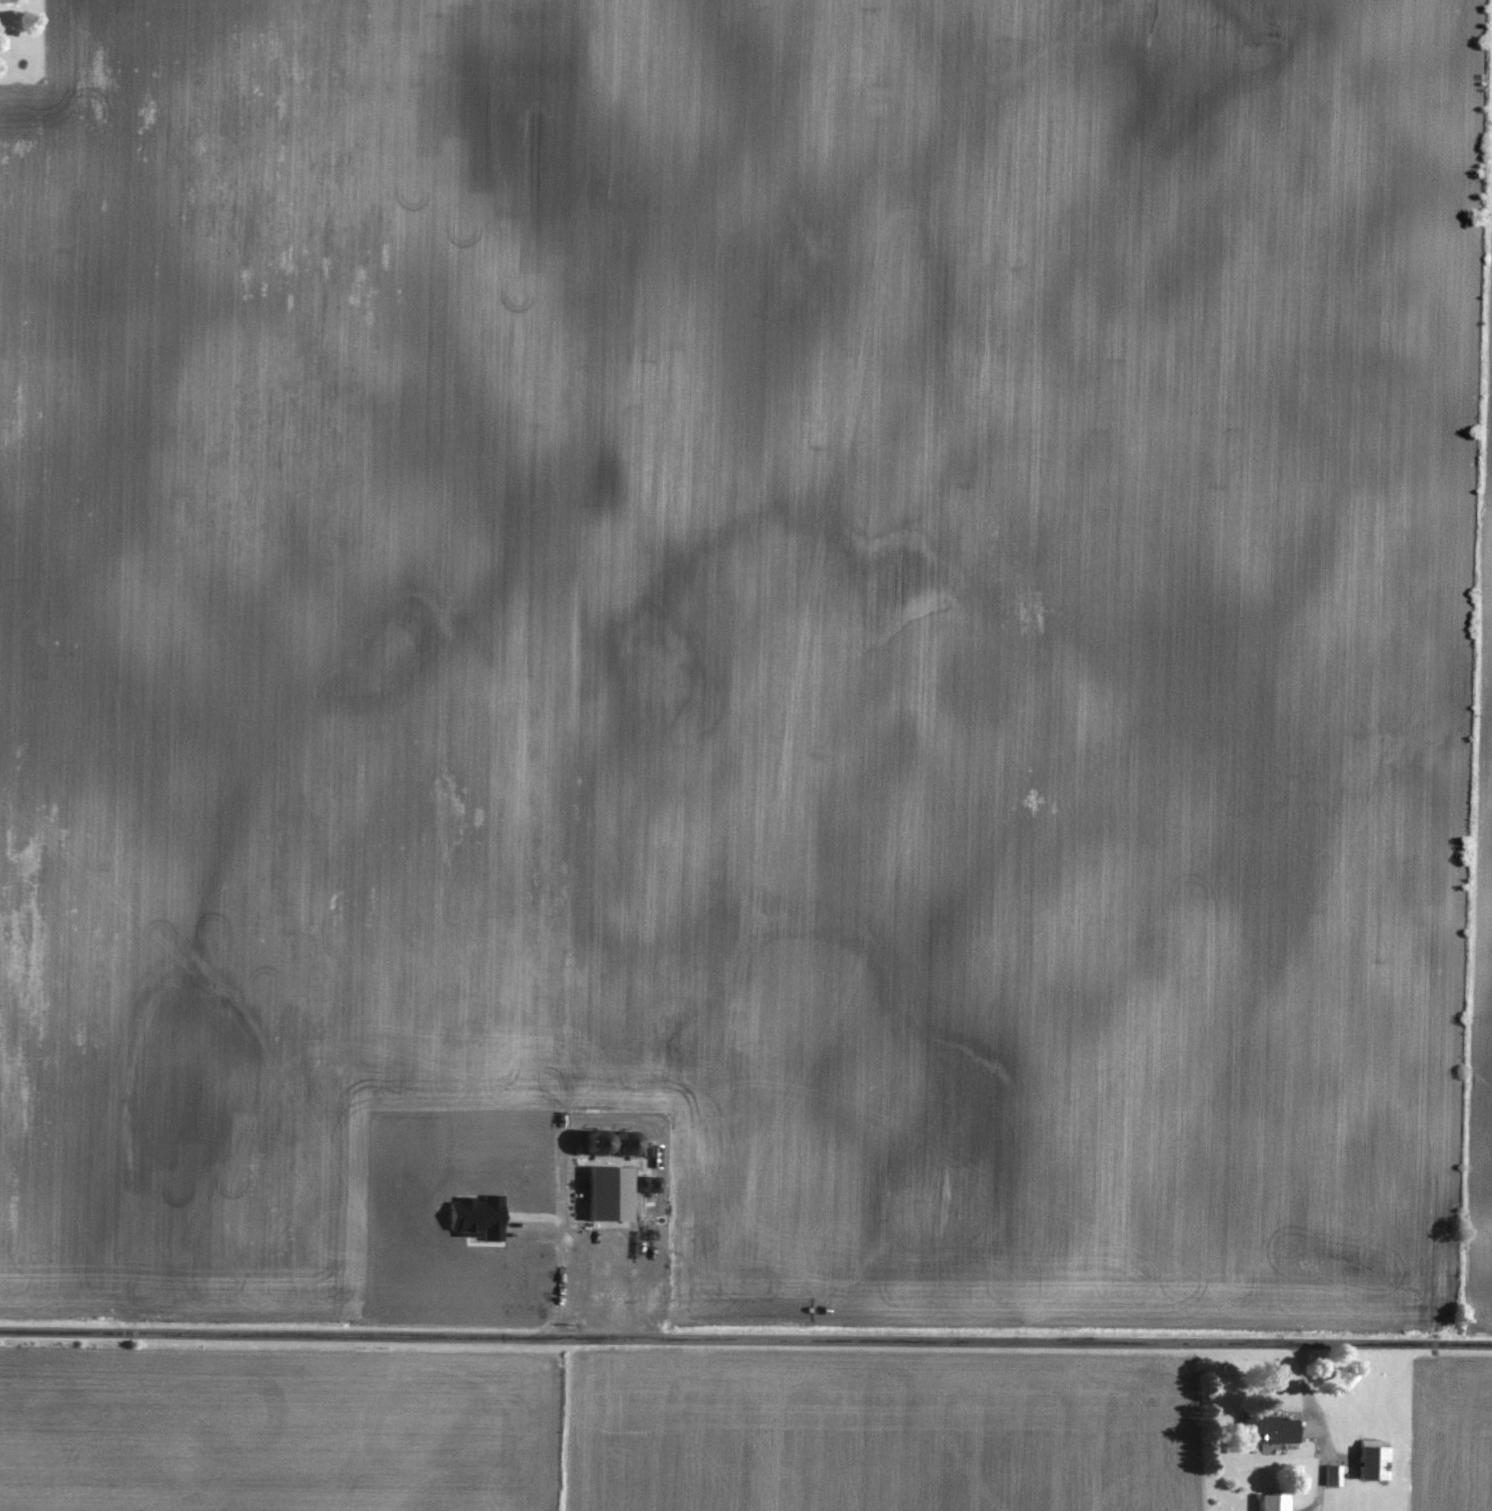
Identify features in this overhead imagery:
road: (745, 1340)
building: (1269, 1429)
road: (1311, 1429)
building: (1372, 1460)

